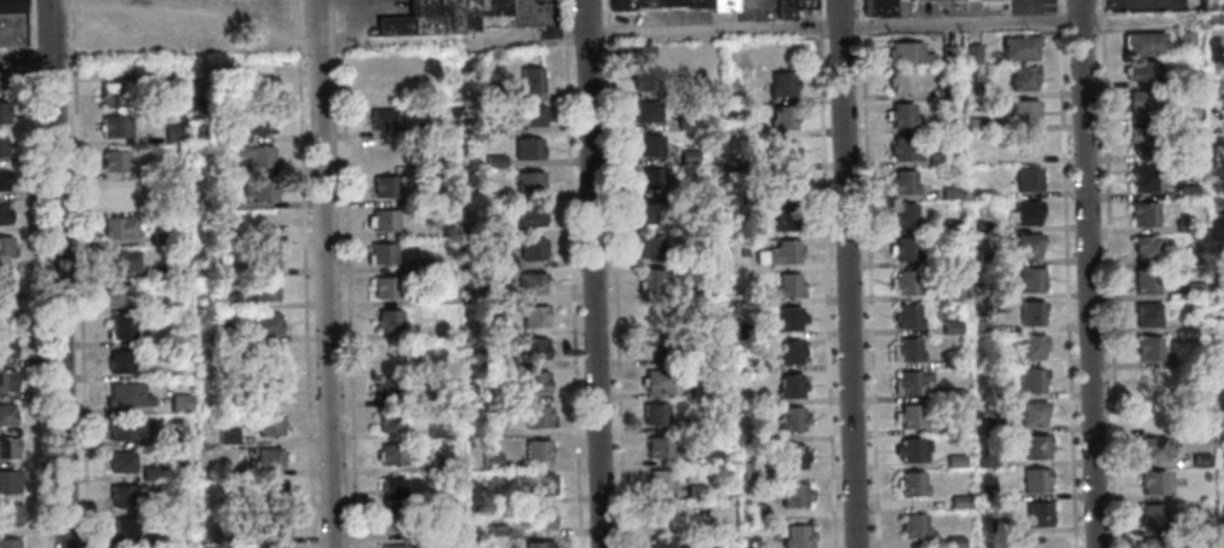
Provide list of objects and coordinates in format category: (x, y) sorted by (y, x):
building: (639, 2)
building: (666, 2)
building: (695, 4)
building: (619, 5)
building: (720, 5)
building: (1211, 5)
road: (1056, 6)
building: (493, 7)
road: (752, 7)
building: (789, 7)
parking lot: (754, 8)
building: (875, 8)
building: (467, 16)
building: (433, 17)
road: (1131, 19)
road: (1057, 21)
building: (12, 23)
road: (959, 23)
building: (392, 28)
road: (446, 39)
building: (1184, 41)
building: (1143, 42)
building: (1018, 46)
building: (906, 52)
building: (971, 53)
road: (25, 56)
building: (947, 56)
building: (1140, 71)
building: (156, 75)
building: (644, 77)
building: (1021, 77)
building: (529, 81)
building: (898, 81)
building: (2, 82)
building: (780, 82)
building: (380, 86)
building: (257, 91)
building: (977, 91)
building: (943, 92)
building: (110, 94)
building: (494, 94)
building: (732, 97)
building: (1138, 102)
building: (645, 111)
building: (1022, 111)
building: (2, 113)
building: (900, 114)
building: (530, 116)
building: (783, 116)
building: (384, 120)
building: (685, 122)
building: (259, 123)
building: (977, 123)
building: (115, 126)
building: (427, 128)
building: (489, 128)
building: (732, 128)
building: (173, 133)
building: (1140, 139)
building: (1024, 144)
building: (648, 145)
building: (1, 148)
building: (527, 148)
building: (901, 148)
building: (783, 149)
building: (380, 152)
building: (255, 155)
building: (686, 156)
building: (114, 160)
building: (936, 160)
building: (493, 161)
building: (174, 168)
building: (1223, 168)
building: (1140, 177)
building: (649, 179)
building: (1025, 179)
building: (2, 180)
building: (529, 181)
building: (901, 181)
building: (783, 183)
building: (386, 185)
building: (258, 189)
building: (1185, 191)
building: (948, 192)
building: (113, 194)
building: (438, 195)
building: (483, 195)
building: (746, 198)
building: (205, 202)
building: (1217, 204)
building: (1025, 210)
building: (650, 212)
building: (1143, 213)
building: (4, 215)
building: (903, 215)
building: (530, 217)
building: (785, 218)
building: (383, 219)
building: (690, 221)
building: (948, 225)
building: (979, 225)
building: (1184, 225)
building: (117, 227)
building: (495, 229)
building: (747, 231)
building: (452, 235)
building: (160, 238)
building: (1025, 243)
building: (1222, 244)
building: (650, 246)
building: (1144, 246)
building: (5, 248)
building: (906, 248)
building: (531, 249)
building: (742, 252)
building: (778, 252)
building: (381, 253)
building: (262, 255)
building: (1194, 256)
building: (987, 258)
building: (950, 259)
building: (120, 261)
building: (505, 261)
building: (423, 263)
building: (157, 271)
road: (58, 273)
road: (79, 273)
road: (303, 273)
road: (326, 273)
road: (345, 273)
road: (569, 273)
road: (591, 273)
road: (613, 273)
road: (826, 273)
road: (846, 273)
road: (867, 273)
road: (1087, 273)
road: (1109, 273)
building: (651, 278)
building: (1028, 278)
building: (1144, 281)
building: (2, 282)
building: (904, 282)
building: (530, 283)
building: (1222, 283)
building: (702, 285)
building: (786, 285)
building: (384, 287)
road: (1064, 289)
building: (1194, 289)
building: (264, 290)
building: (481, 292)
building: (116, 293)
building: (443, 294)
building: (749, 296)
building: (234, 299)
building: (1030, 312)
building: (1145, 312)
building: (2, 313)
building: (1222, 313)
building: (906, 315)
building: (534, 316)
building: (787, 318)
building: (387, 321)
building: (265, 323)
building: (985, 324)
building: (121, 327)
building: (949, 327)
building: (437, 329)
building: (493, 329)
building: (745, 330)
building: (214, 336)
building: (1029, 345)
building: (656, 346)
building: (1147, 347)
building: (6, 348)
building: (530, 348)
building: (906, 350)
building: (788, 351)
building: (1219, 353)
building: (389, 354)
building: (711, 354)
building: (266, 357)
building: (988, 358)
building: (952, 360)
building: (120, 362)
building: (754, 365)
building: (207, 370)
building: (655, 379)
building: (1030, 379)
building: (1151, 380)
building: (531, 381)
building: (910, 381)
building: (6, 382)
building: (791, 386)
building: (387, 387)
building: (699, 390)
building: (270, 391)
building: (953, 393)
building: (126, 394)
building: (424, 397)
building: (754, 398)
building: (179, 403)
building: (1030, 411)
building: (653, 413)
building: (1149, 414)
building: (6, 415)
building: (908, 415)
building: (536, 416)
building: (791, 417)
building: (390, 421)
building: (269, 425)
building: (689, 425)
building: (1197, 426)
building: (125, 427)
building: (489, 427)
building: (436, 429)
building: (1223, 433)
building: (753, 434)
building: (166, 435)
building: (226, 435)
building: (657, 446)
building: (1034, 446)
building: (912, 448)
building: (1150, 448)
building: (7, 449)
building: (536, 450)
building: (395, 454)
building: (792, 455)
building: (709, 456)
building: (266, 457)
building: (983, 457)
building: (489, 458)
building: (1200, 458)
building: (954, 460)
building: (121, 462)
building: (437, 463)
building: (752, 469)
building: (1222, 472)
building: (150, 473)
building: (1205, 475)
building: (659, 479)
building: (1033, 479)
building: (1151, 480)
building: (8, 481)
building: (910, 481)
building: (540, 484)
building: (392, 488)
building: (271, 490)
building: (693, 490)
building: (985, 491)
building: (793, 494)
building: (121, 495)
building: (490, 495)
building: (438, 497)
building: (958, 501)
building: (237, 503)
building: (663, 512)
building: (754, 512)
building: (1036, 513)
building: (11, 515)
building: (1150, 515)
building: (539, 518)
building: (390, 520)
building: (913, 524)
building: (274, 525)
building: (1199, 526)
building: (125, 527)
building: (495, 529)
building: (439, 531)
building: (794, 536)
building: (246, 537)
building: (153, 541)
building: (660, 541)
building: (953, 541)
building: (1036, 542)
building: (1153, 542)
building: (7, 543)
building: (538, 543)
building: (397, 546)
building: (753, 546)

